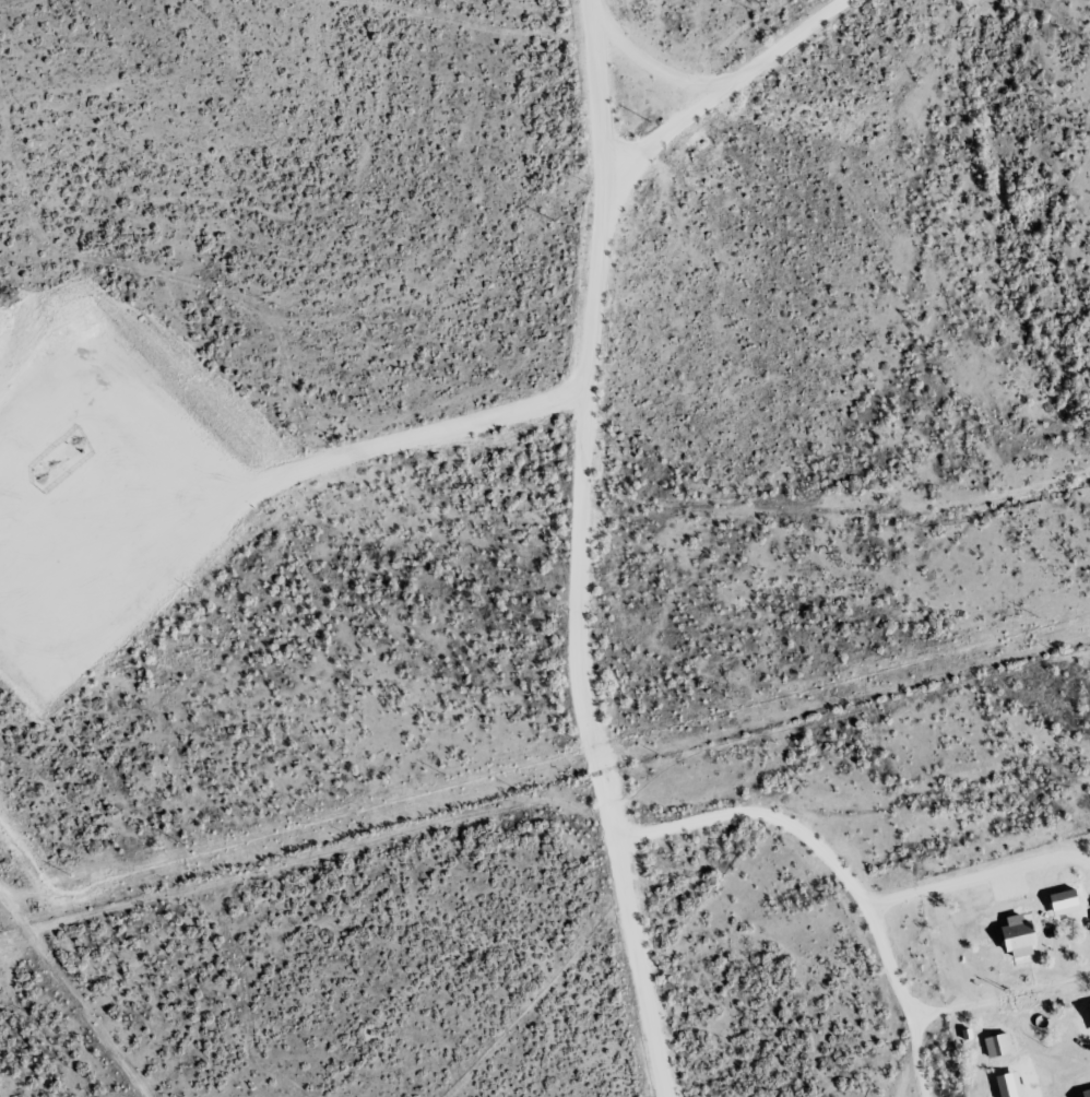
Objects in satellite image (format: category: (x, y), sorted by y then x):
road: (1024, 44)
road: (583, 408)
road: (842, 534)
road: (969, 742)
road: (896, 790)
building: (1019, 939)
road: (1054, 955)
building: (996, 1046)
building: (1086, 1093)

